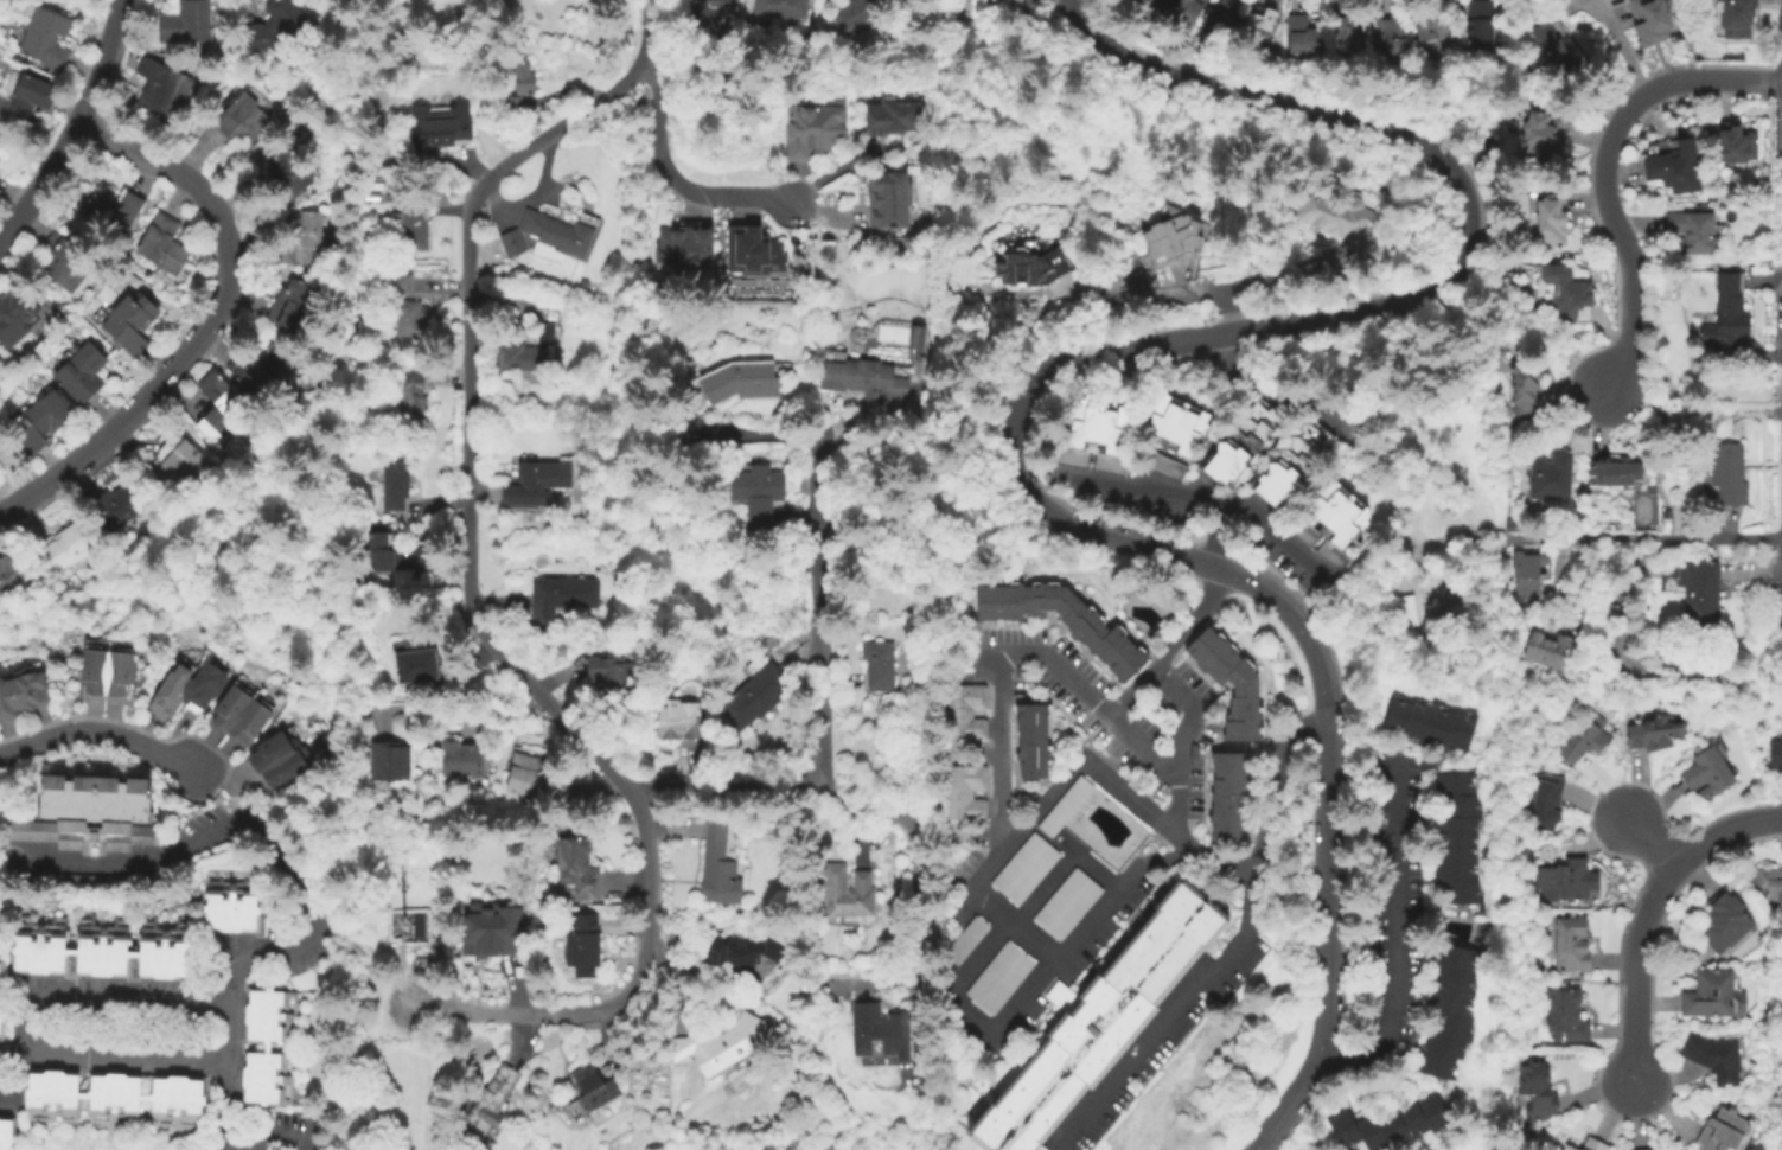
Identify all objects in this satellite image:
road: (248, 1)
building: (1154, 4)
building: (1013, 5)
building: (1142, 5)
building: (781, 8)
building: (970, 9)
building: (707, 11)
building: (1190, 11)
building: (856, 14)
building: (1736, 17)
building: (1226, 19)
building: (1650, 20)
building: (189, 24)
building: (1265, 24)
building: (1483, 25)
building: (276, 28)
building: (1350, 33)
building: (1432, 33)
building: (1307, 34)
road: (647, 36)
building: (1393, 36)
building: (46, 37)
road: (1621, 41)
building: (1550, 46)
building: (381, 69)
road: (1713, 81)
building: (520, 83)
building: (162, 91)
building: (30, 98)
building: (890, 116)
building: (245, 120)
road: (77, 128)
building: (0, 129)
building: (813, 129)
building: (0, 132)
building: (435, 132)
building: (1537, 136)
building: (1735, 146)
building: (1674, 166)
building: (288, 174)
road: (679, 183)
building: (888, 199)
building: (115, 207)
building: (1343, 217)
building: (1551, 221)
building: (415, 225)
building: (1692, 232)
building: (1176, 234)
building: (558, 235)
road: (1623, 238)
building: (308, 239)
building: (165, 243)
building: (512, 243)
building: (685, 245)
building: (753, 251)
building: (65, 262)
building: (1036, 263)
building: (396, 282)
building: (583, 283)
building: (1569, 292)
road: (1183, 293)
building: (293, 305)
building: (1729, 309)
building: (17, 314)
building: (130, 319)
building: (410, 319)
road: (210, 325)
building: (918, 332)
building: (530, 351)
building: (264, 366)
building: (83, 371)
building: (866, 377)
building: (739, 378)
road: (1035, 383)
building: (1524, 389)
building: (414, 398)
building: (219, 405)
road: (971, 419)
building: (43, 420)
building: (1183, 421)
road: (871, 422)
building: (1100, 434)
building: (1247, 440)
building: (5, 451)
building: (1298, 461)
building: (180, 462)
building: (1168, 465)
building: (1615, 473)
building: (1729, 473)
building: (1551, 475)
building: (535, 483)
building: (395, 486)
building: (759, 491)
road: (1181, 492)
building: (121, 503)
building: (1339, 523)
road: (1283, 536)
road: (1652, 537)
building: (64, 548)
building: (397, 560)
building: (11, 569)
building: (1673, 570)
building: (1527, 573)
building: (1143, 595)
building: (1700, 595)
building: (560, 598)
road: (819, 609)
building: (1405, 609)
road: (484, 632)
building: (1104, 632)
road: (1171, 644)
road: (1045, 650)
building: (1547, 650)
building: (417, 660)
building: (879, 665)
building: (109, 666)
building: (612, 669)
building: (1024, 670)
building: (1237, 683)
building: (171, 688)
building: (202, 688)
building: (24, 690)
building: (755, 692)
building: (1143, 704)
building: (245, 710)
building: (967, 711)
road: (1192, 716)
building: (676, 720)
building: (1435, 723)
road: (98, 733)
building: (1653, 733)
building: (1037, 739)
building: (1583, 739)
building: (267, 752)
building: (1196, 752)
building: (1775, 753)
building: (461, 759)
building: (389, 761)
building: (281, 771)
building: (1707, 772)
building: (529, 775)
road: (724, 782)
building: (967, 792)
building: (1234, 794)
building: (1541, 800)
building: (1068, 805)
building: (91, 811)
road: (251, 831)
building: (1462, 837)
road: (1652, 838)
road: (998, 854)
road: (1094, 860)
building: (721, 863)
building: (577, 867)
building: (1028, 868)
building: (1566, 879)
building: (1769, 884)
building: (90, 886)
building: (847, 890)
building: (232, 901)
building: (1071, 903)
road: (1649, 911)
road: (1022, 914)
building: (1724, 921)
building: (405, 924)
building: (494, 933)
building: (969, 940)
road: (1386, 943)
building: (1571, 944)
building: (103, 945)
building: (583, 945)
road: (1235, 945)
building: (742, 954)
building: (1002, 978)
building: (1712, 995)
road: (1023, 997)
building: (1, 1002)
building: (148, 1011)
building: (1455, 1011)
building: (1566, 1015)
building: (1110, 1021)
building: (881, 1033)
building: (92, 1039)
building: (723, 1044)
building: (268, 1048)
road: (226, 1052)
building: (1713, 1058)
building: (2, 1080)
building: (593, 1087)
building: (1537, 1090)
building: (116, 1103)
road: (226, 1107)
building: (1397, 1124)
building: (1722, 1131)
building: (6, 1135)
building: (1593, 1144)
building: (1564, 1146)
building: (1643, 1149)

